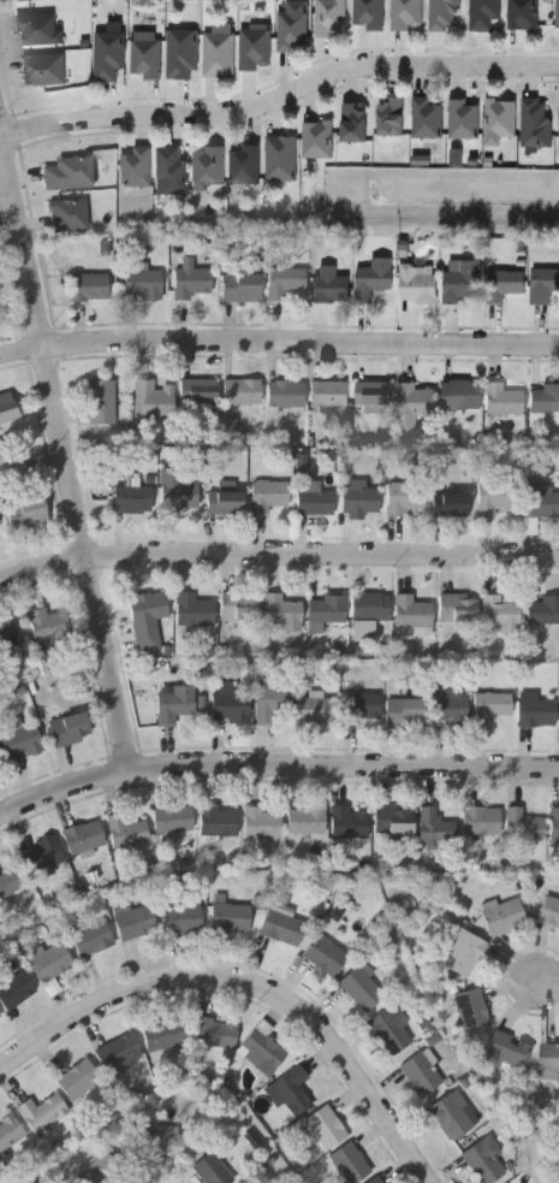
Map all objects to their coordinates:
building: (369, 13)
building: (406, 14)
building: (445, 14)
building: (523, 14)
building: (483, 16)
building: (557, 16)
building: (331, 18)
building: (38, 30)
building: (292, 31)
building: (255, 49)
building: (182, 53)
building: (218, 53)
building: (108, 57)
building: (145, 59)
building: (43, 70)
road: (283, 94)
building: (392, 117)
building: (427, 118)
building: (500, 118)
building: (463, 119)
building: (537, 123)
building: (356, 124)
road: (2, 135)
building: (319, 140)
building: (280, 156)
building: (245, 164)
building: (135, 166)
building: (208, 168)
building: (170, 170)
building: (67, 172)
building: (67, 214)
building: (374, 279)
building: (191, 280)
building: (464, 283)
building: (285, 284)
building: (144, 285)
building: (331, 285)
building: (416, 285)
building: (504, 285)
building: (543, 285)
building: (90, 289)
building: (242, 289)
building: (2, 303)
road: (278, 344)
building: (329, 391)
building: (198, 392)
building: (242, 394)
building: (286, 396)
building: (374, 396)
building: (462, 396)
building: (545, 400)
building: (154, 402)
building: (502, 402)
building: (101, 403)
building: (415, 404)
building: (7, 407)
building: (231, 430)
road: (65, 434)
building: (302, 463)
building: (180, 492)
building: (268, 493)
building: (406, 497)
building: (133, 499)
building: (495, 499)
building: (361, 501)
building: (225, 502)
building: (315, 503)
building: (452, 505)
building: (541, 505)
building: (25, 511)
building: (530, 526)
road: (276, 555)
building: (239, 608)
building: (370, 608)
building: (458, 608)
building: (327, 610)
building: (195, 611)
building: (543, 611)
building: (283, 614)
building: (412, 614)
building: (500, 615)
building: (148, 621)
building: (47, 627)
building: (364, 631)
building: (7, 637)
building: (273, 704)
building: (174, 705)
building: (230, 708)
building: (362, 708)
building: (451, 708)
building: (492, 708)
building: (319, 711)
building: (405, 712)
building: (536, 714)
building: (70, 730)
building: (22, 743)
road: (274, 764)
building: (173, 820)
building: (307, 821)
building: (394, 821)
building: (218, 822)
building: (481, 822)
building: (263, 823)
building: (349, 824)
building: (554, 824)
building: (523, 826)
building: (436, 829)
building: (126, 832)
building: (84, 836)
building: (42, 854)
building: (11, 883)
building: (549, 912)
building: (231, 918)
building: (504, 918)
building: (184, 919)
building: (135, 922)
building: (281, 925)
building: (93, 939)
building: (464, 953)
building: (326, 954)
building: (52, 963)
road: (548, 982)
road: (250, 983)
building: (363, 988)
building: (14, 990)
building: (471, 1010)
building: (0, 1016)
building: (391, 1031)
building: (215, 1034)
building: (165, 1036)
building: (510, 1052)
building: (262, 1053)
building: (119, 1054)
building: (548, 1058)
building: (420, 1073)
building: (79, 1081)
building: (292, 1093)
building: (42, 1114)
building: (452, 1118)
building: (326, 1129)
building: (10, 1134)
building: (163, 1143)
building: (484, 1161)
building: (350, 1165)
building: (101, 1170)
building: (212, 1171)
building: (377, 1181)
building: (557, 1181)

